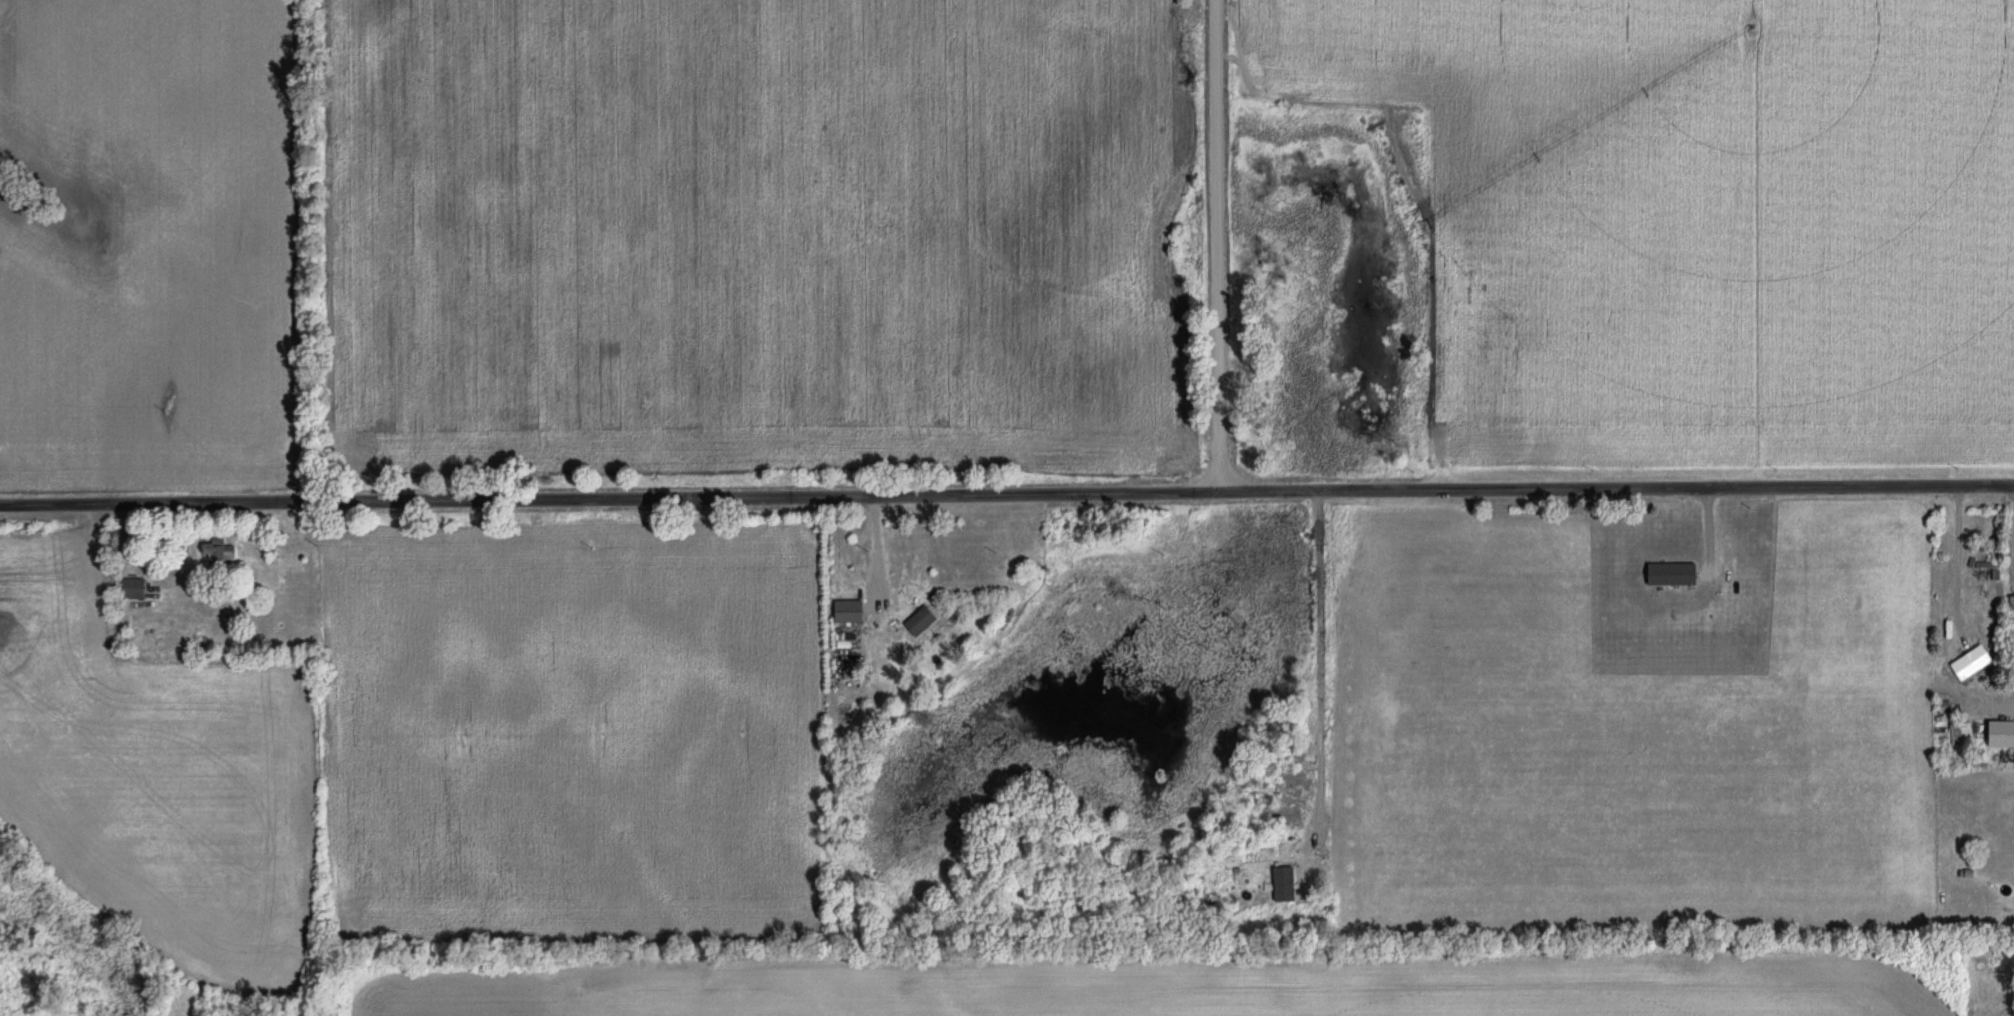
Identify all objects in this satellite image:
road: (1218, 247)
road: (1006, 496)
road: (878, 549)
building: (223, 551)
building: (139, 586)
building: (2009, 610)
building: (843, 613)
building: (915, 623)
building: (1967, 664)
road: (1335, 674)
building: (1286, 888)

